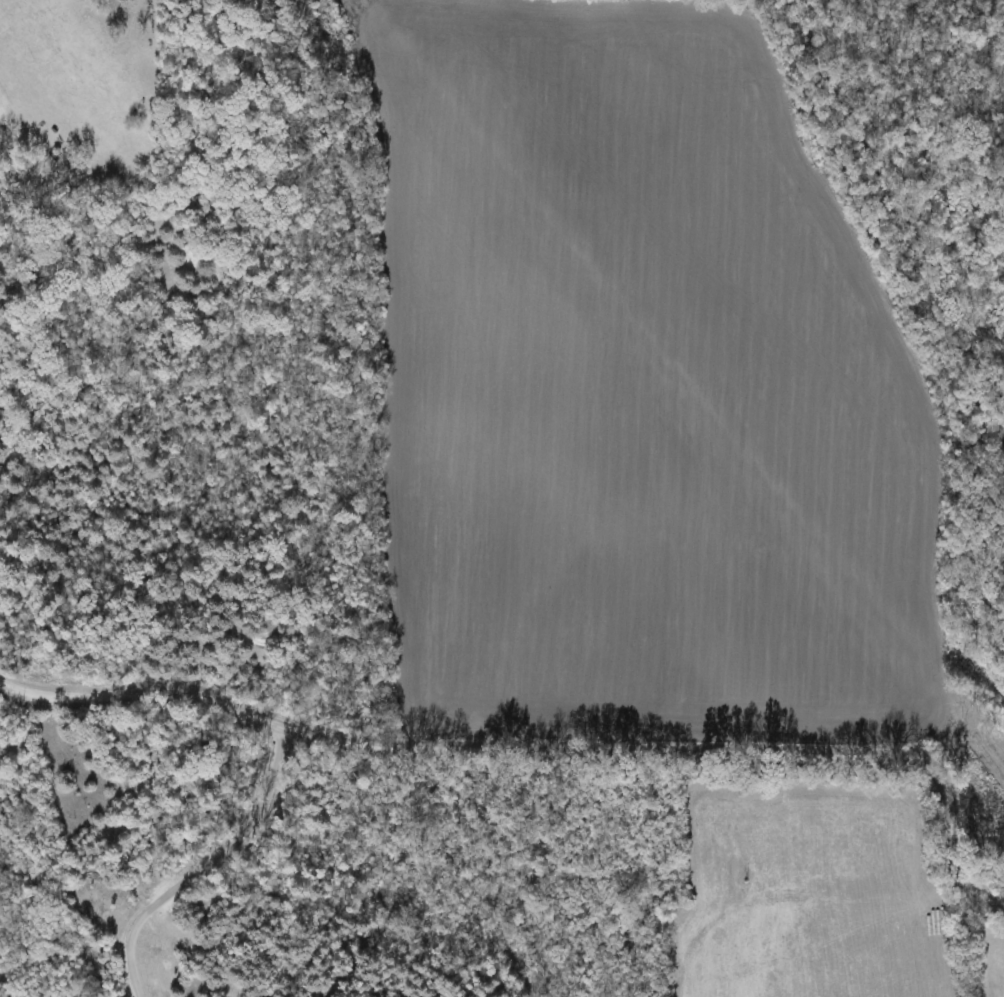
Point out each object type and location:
road: (547, 749)
road: (204, 867)

